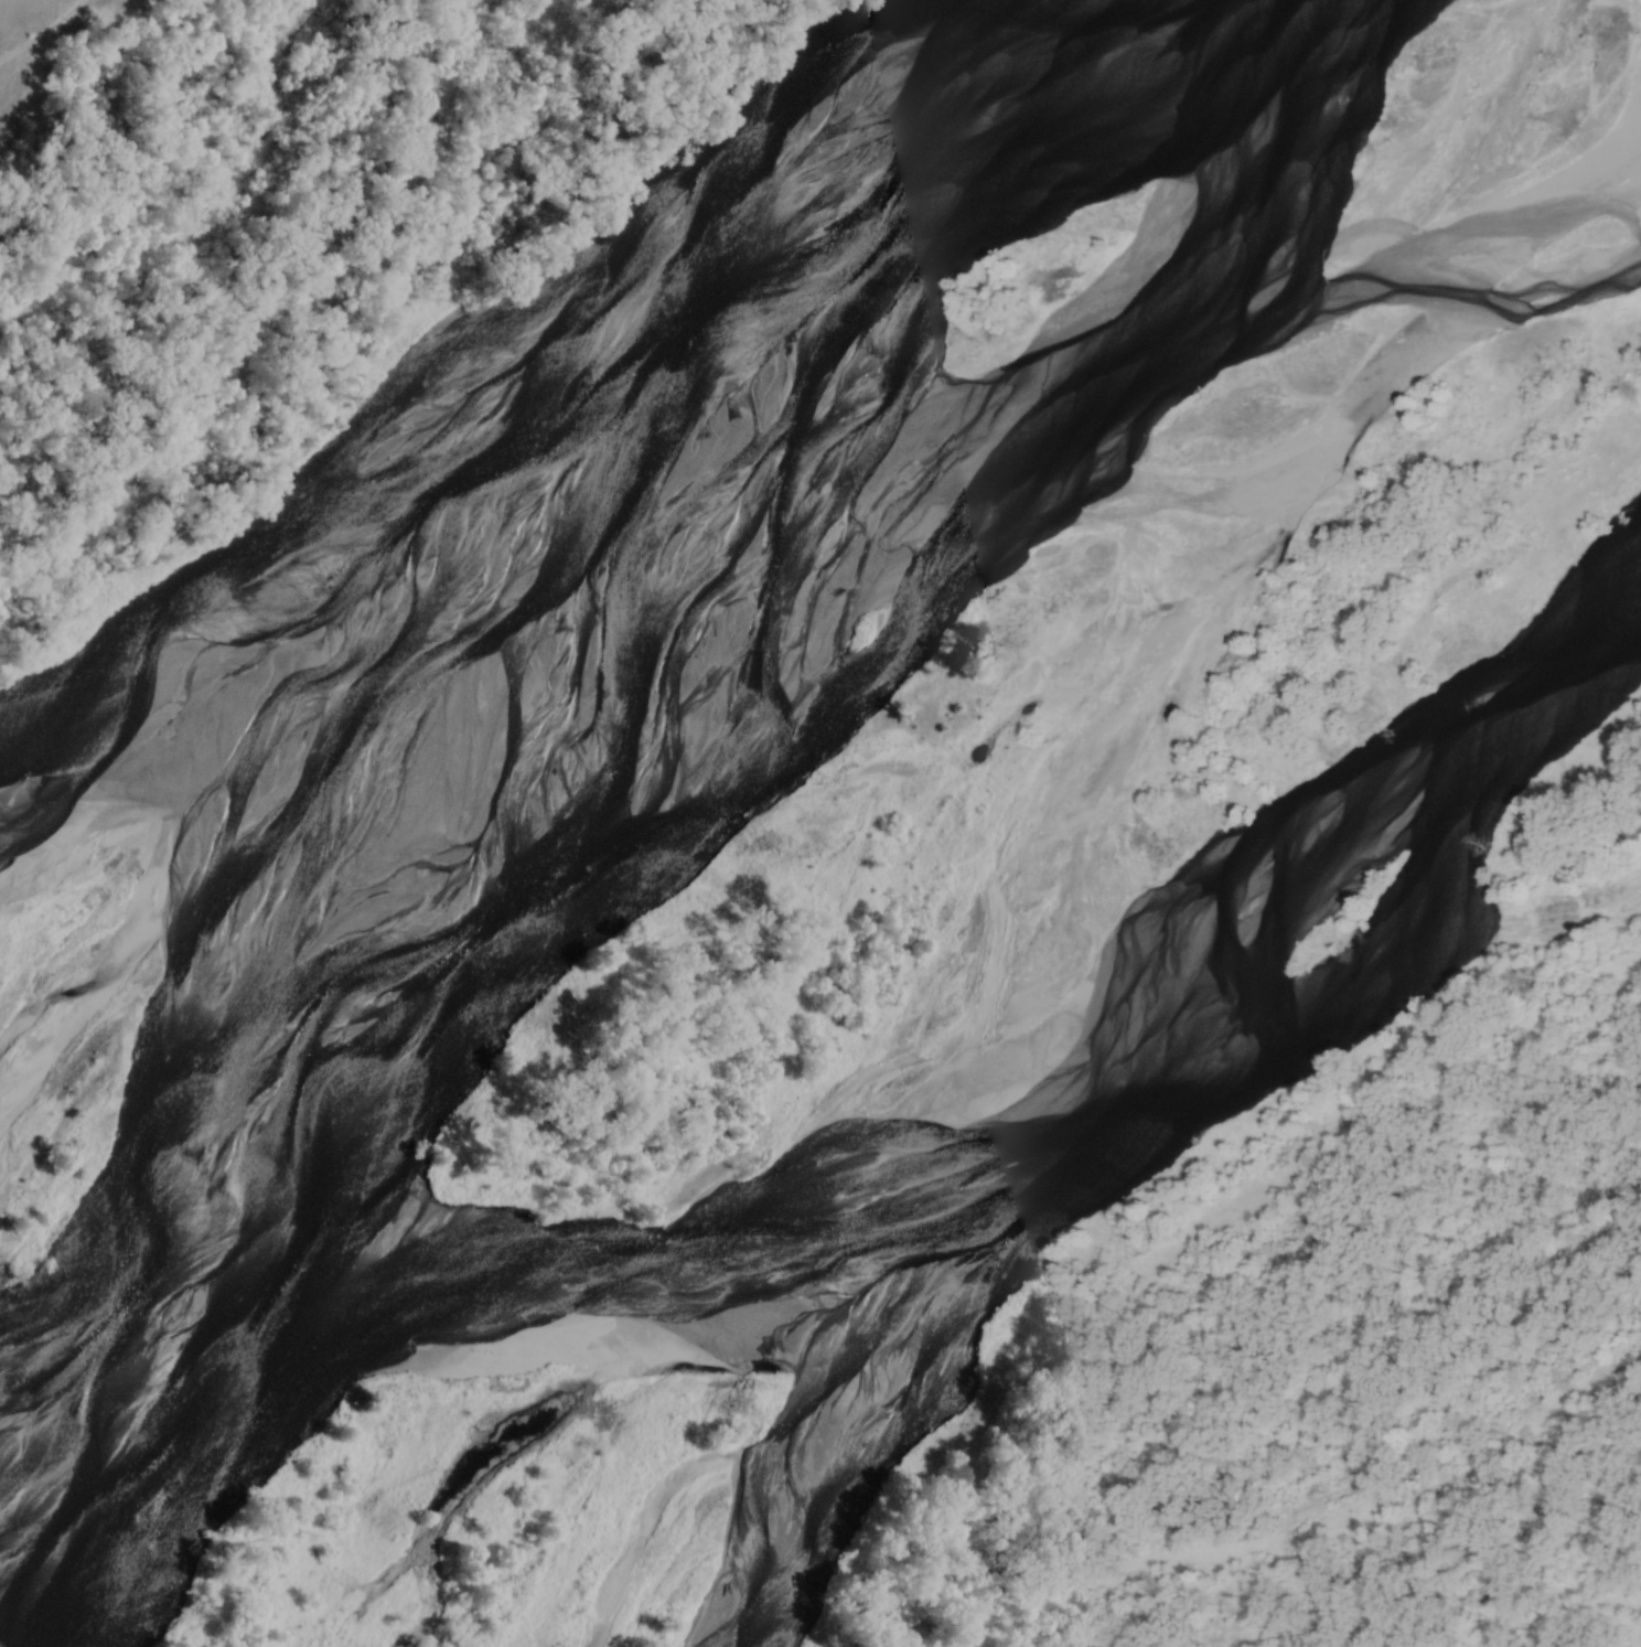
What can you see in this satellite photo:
road: (43, 33)
river: (701, 714)

